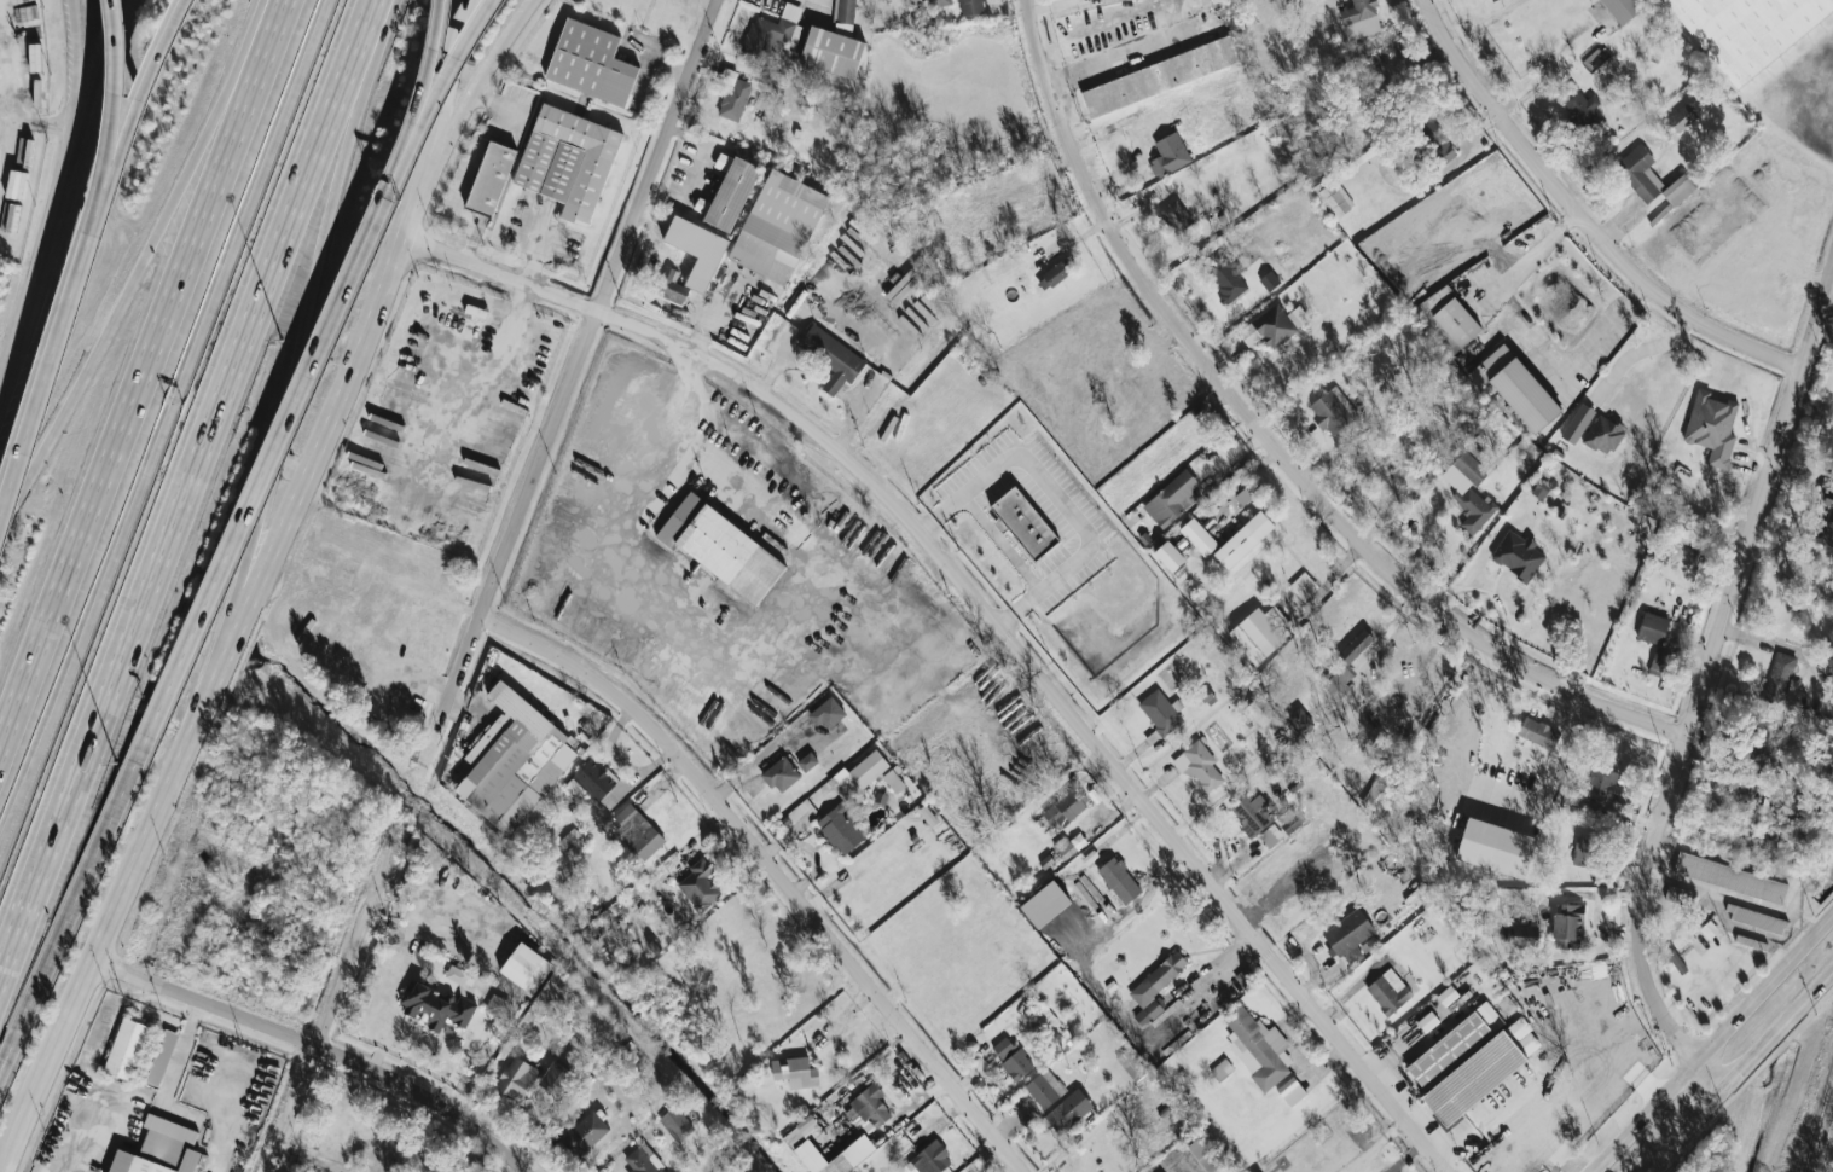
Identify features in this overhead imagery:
building: (1492, 1)
building: (1083, 4)
building: (964, 6)
building: (1624, 10)
building: (846, 14)
building: (1362, 19)
building: (1748, 29)
road: (378, 30)
building: (772, 31)
building: (833, 52)
road: (88, 62)
road: (109, 62)
road: (1101, 63)
building: (591, 64)
road: (456, 68)
road: (434, 69)
building: (1158, 77)
road: (10, 87)
road: (145, 92)
road: (443, 92)
road: (474, 92)
road: (120, 94)
building: (735, 99)
road: (498, 104)
building: (1683, 118)
road: (68, 123)
road: (5, 134)
building: (1168, 155)
building: (568, 162)
building: (1641, 173)
building: (491, 180)
building: (1680, 191)
building: (732, 195)
building: (1335, 199)
building: (1176, 216)
road: (1580, 217)
road: (474, 237)
road: (538, 242)
building: (762, 246)
road: (553, 250)
building: (700, 251)
road: (1529, 256)
road: (145, 262)
building: (1056, 273)
road: (47, 280)
building: (1226, 280)
building: (1270, 282)
building: (672, 289)
building: (1452, 317)
road: (308, 325)
road: (1608, 325)
building: (1274, 326)
road: (501, 327)
road: (855, 327)
road: (1637, 350)
road: (580, 354)
building: (831, 358)
road: (54, 366)
road: (144, 369)
building: (1159, 384)
building: (1519, 388)
road: (343, 389)
building: (1333, 413)
road: (2, 419)
road: (162, 423)
building: (1578, 424)
building: (1712, 428)
building: (1603, 436)
road: (672, 439)
road: (1271, 443)
building: (1541, 489)
building: (1469, 491)
road: (261, 492)
road: (1054, 494)
building: (1172, 499)
building: (1025, 523)
road: (185, 536)
building: (1197, 536)
building: (1246, 538)
building: (721, 547)
building: (1167, 553)
building: (1519, 555)
building: (1304, 586)
building: (1822, 588)
road: (992, 616)
road: (787, 617)
building: (1653, 627)
building: (1261, 633)
building: (1356, 646)
building: (1658, 663)
building: (1780, 678)
building: (1338, 681)
road: (1701, 681)
building: (1260, 709)
building: (1160, 712)
building: (828, 713)
building: (1300, 719)
building: (1539, 732)
building: (1763, 737)
road: (1560, 748)
building: (975, 756)
building: (807, 761)
building: (1199, 765)
building: (868, 768)
building: (521, 770)
building: (781, 774)
building: (893, 781)
building: (1603, 783)
building: (598, 787)
building: (1066, 808)
building: (1591, 808)
building: (1251, 813)
building: (929, 816)
building: (840, 830)
building: (638, 832)
building: (1271, 836)
building: (1065, 847)
building: (1496, 847)
building: (1585, 851)
building: (1046, 860)
road: (773, 870)
building: (1730, 877)
road: (127, 880)
building: (1119, 881)
building: (700, 886)
building: (1681, 895)
building: (1754, 918)
building: (1568, 926)
building: (1709, 929)
building: (1508, 933)
building: (1350, 935)
building: (1525, 935)
road: (51, 953)
building: (1676, 961)
building: (526, 968)
building: (457, 974)
building: (1156, 984)
building: (1462, 984)
building: (1388, 991)
building: (436, 1005)
building: (498, 1005)
building: (1049, 1015)
building: (1428, 1020)
road: (321, 1029)
road: (1712, 1043)
building: (1456, 1045)
building: (1259, 1046)
road: (318, 1048)
building: (1003, 1048)
building: (127, 1049)
road: (180, 1049)
building: (162, 1057)
building: (1017, 1066)
building: (1131, 1066)
building: (1222, 1069)
building: (795, 1072)
building: (1555, 1072)
road: (1739, 1072)
building: (516, 1078)
building: (1474, 1078)
building: (556, 1079)
building: (1045, 1089)
building: (1292, 1091)
building: (870, 1106)
building: (1069, 1112)
road: (1485, 1114)
building: (678, 1124)
railway: (1819, 1129)
building: (585, 1135)
road: (1545, 1135)
building: (801, 1144)
building: (157, 1156)
building: (1206, 1156)
road: (1406, 1156)
road: (311, 1158)
building: (932, 1159)
building: (643, 1162)

